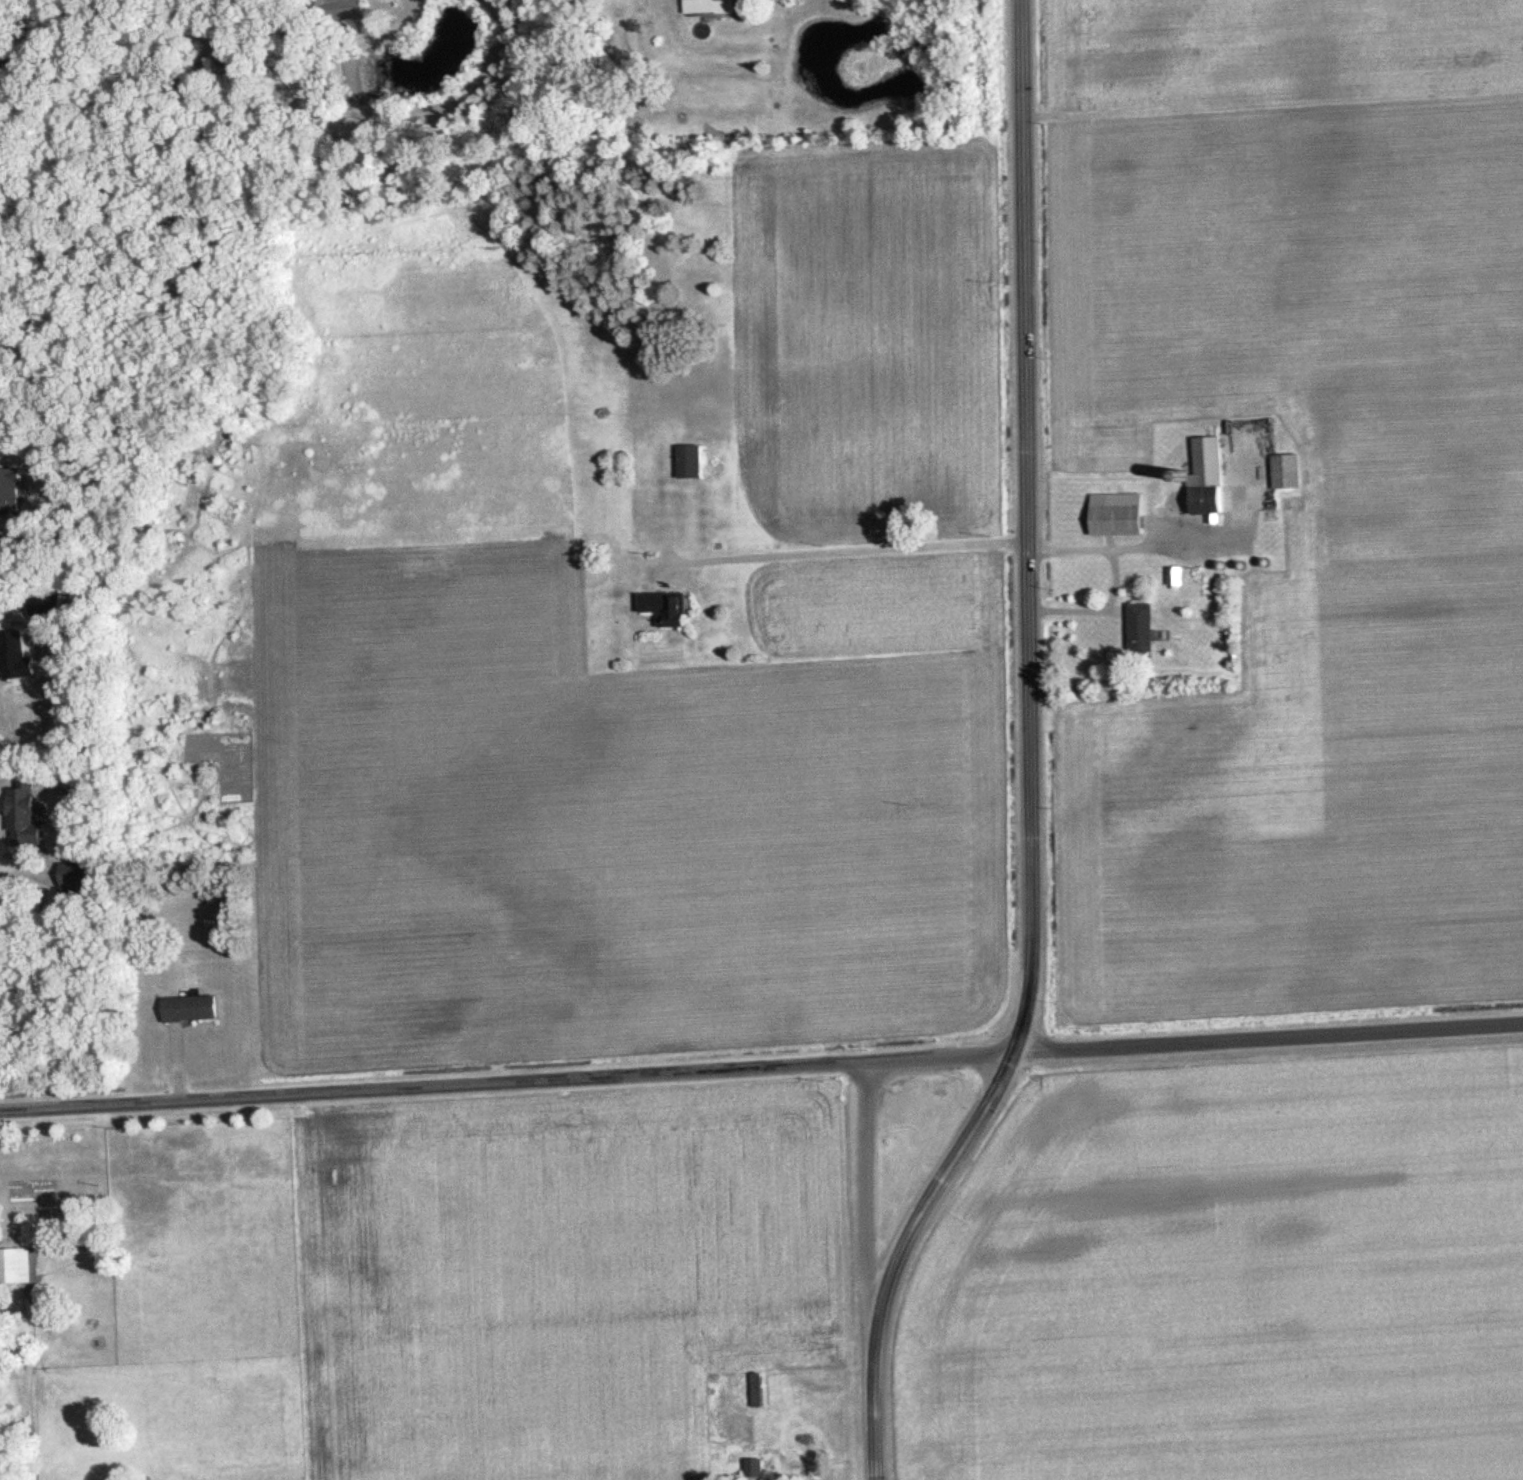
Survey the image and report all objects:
building: (710, 6)
building: (340, 9)
building: (223, 60)
building: (691, 461)
building: (1288, 471)
building: (1213, 484)
building: (1119, 513)
road: (1131, 544)
road: (835, 546)
building: (1176, 575)
building: (662, 607)
road: (1096, 607)
building: (1143, 630)
road: (1031, 758)
building: (26, 818)
road: (22, 871)
building: (78, 878)
building: (192, 1008)
road: (1190, 1043)
road: (428, 1085)
road: (866, 1180)
building: (15, 1265)
building: (759, 1390)
building: (755, 1467)

